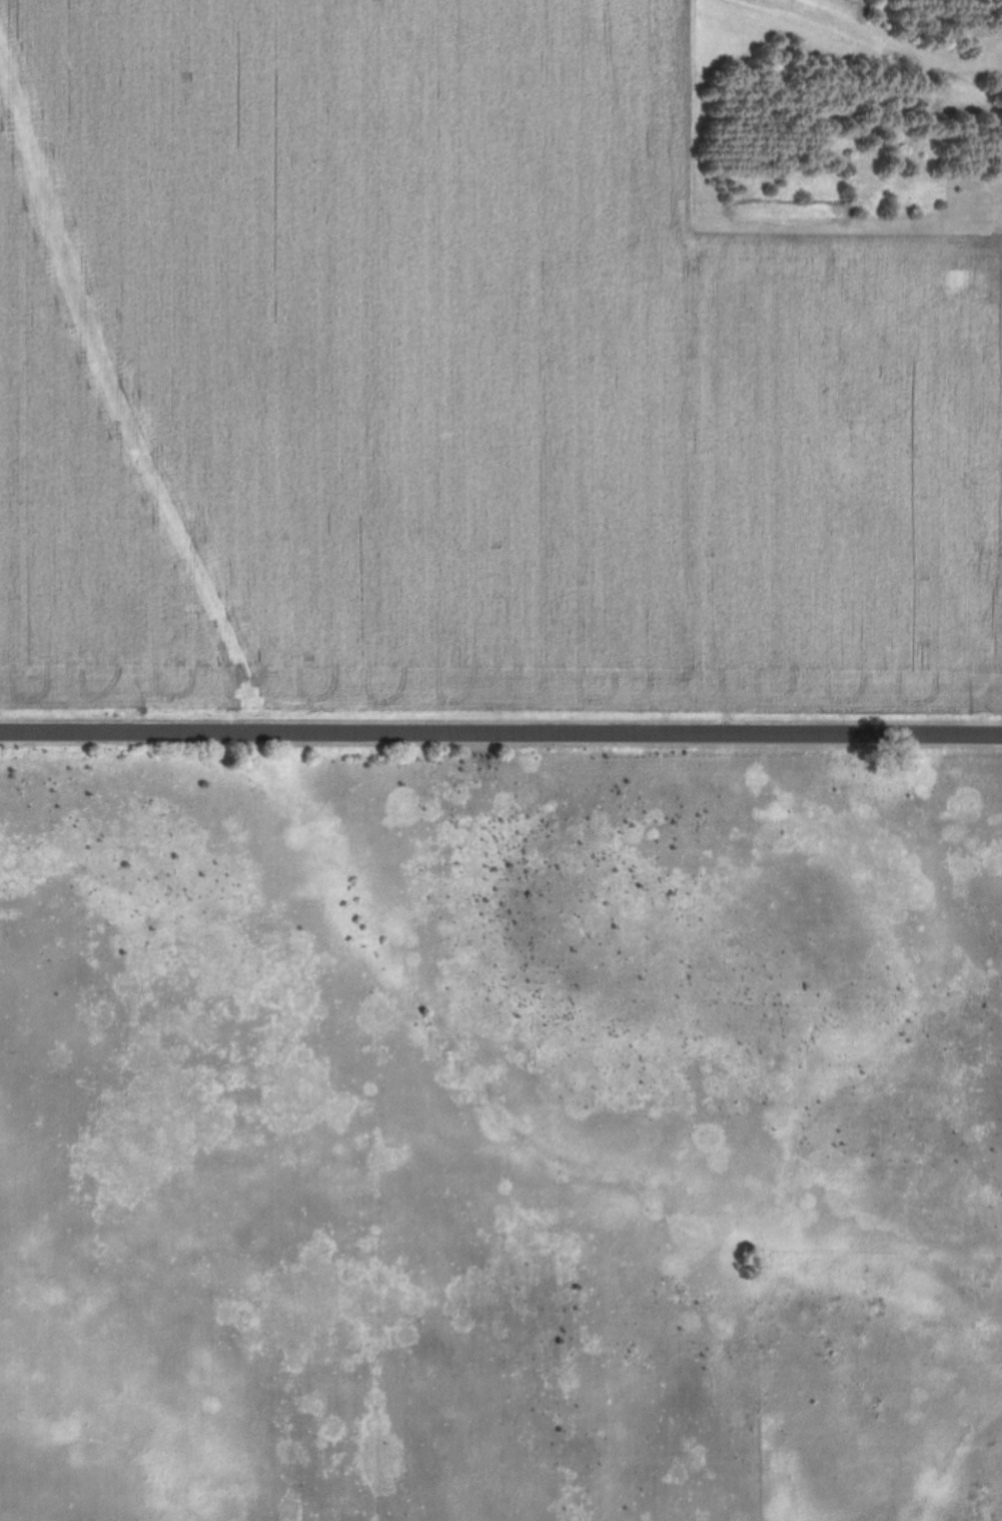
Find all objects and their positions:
road: (501, 733)
park: (500, 1127)

